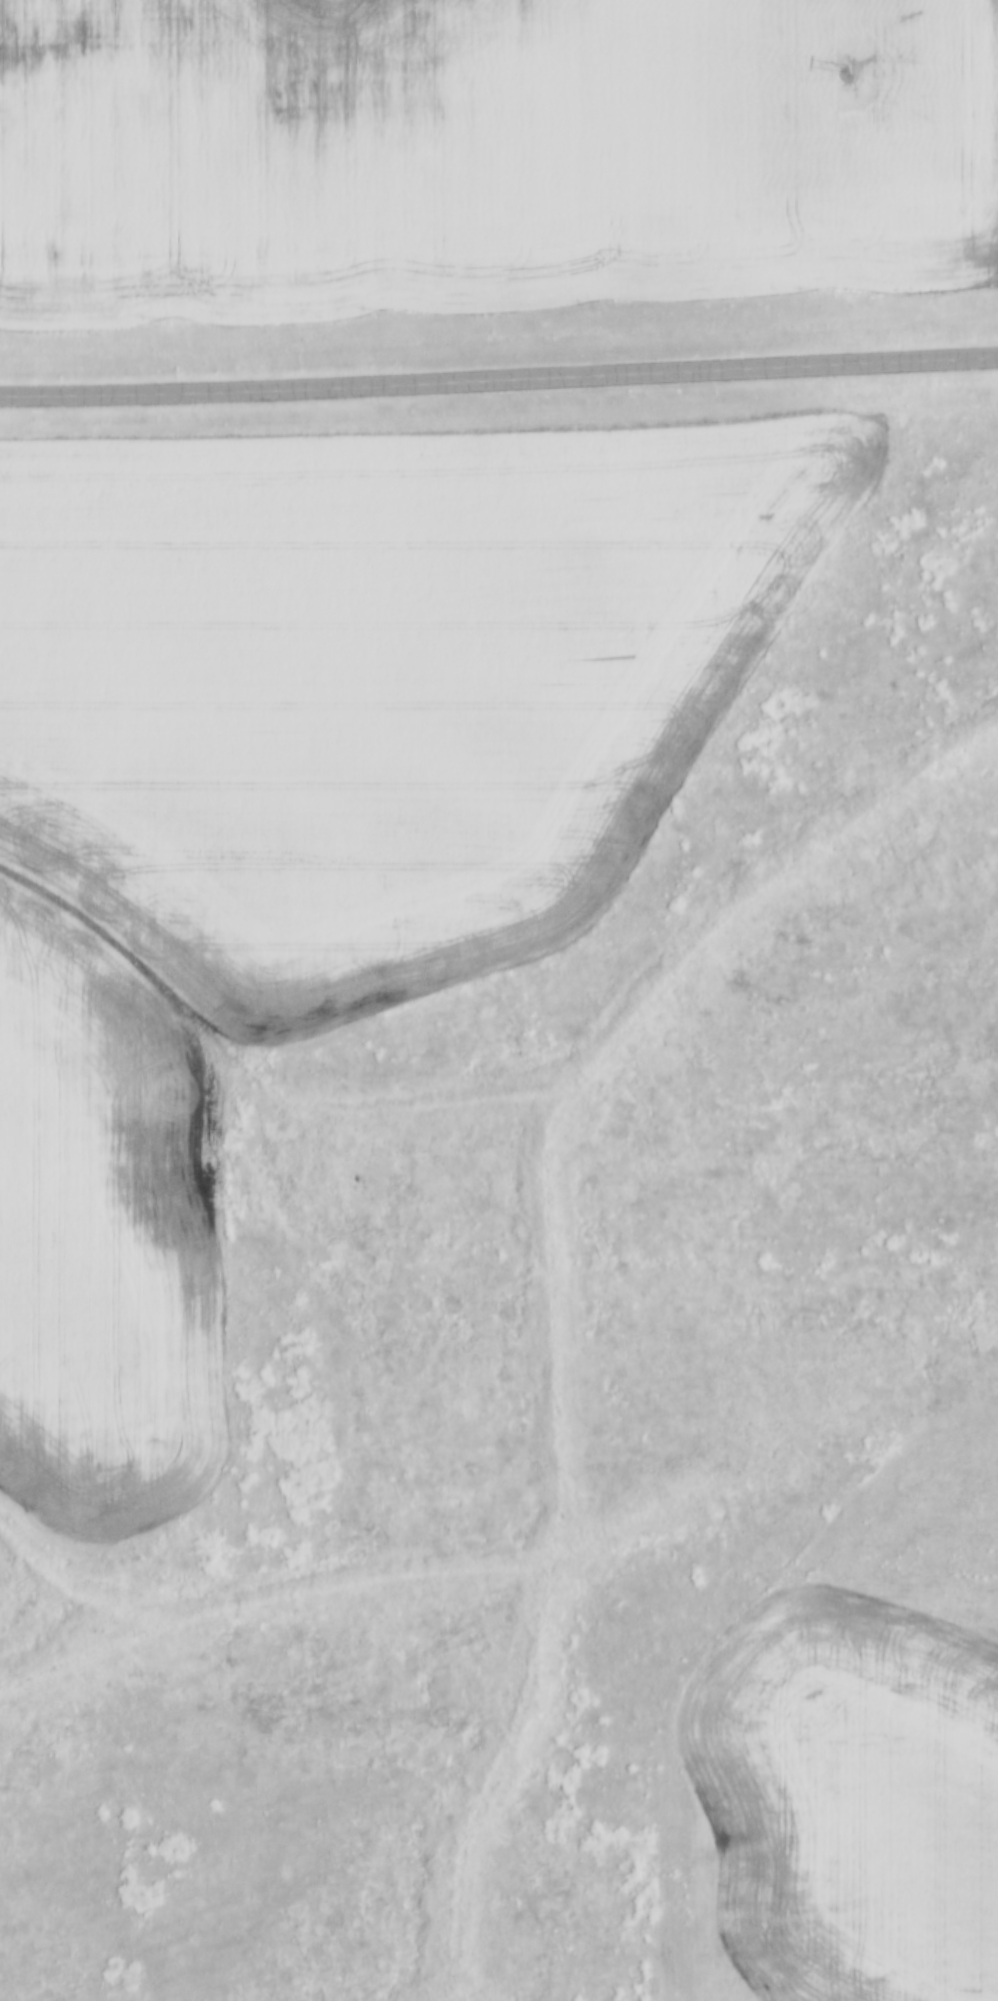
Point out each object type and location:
power tower: (847, 68)
crop: (477, 155)
road: (499, 382)
crop: (312, 819)
crop: (845, 1756)

